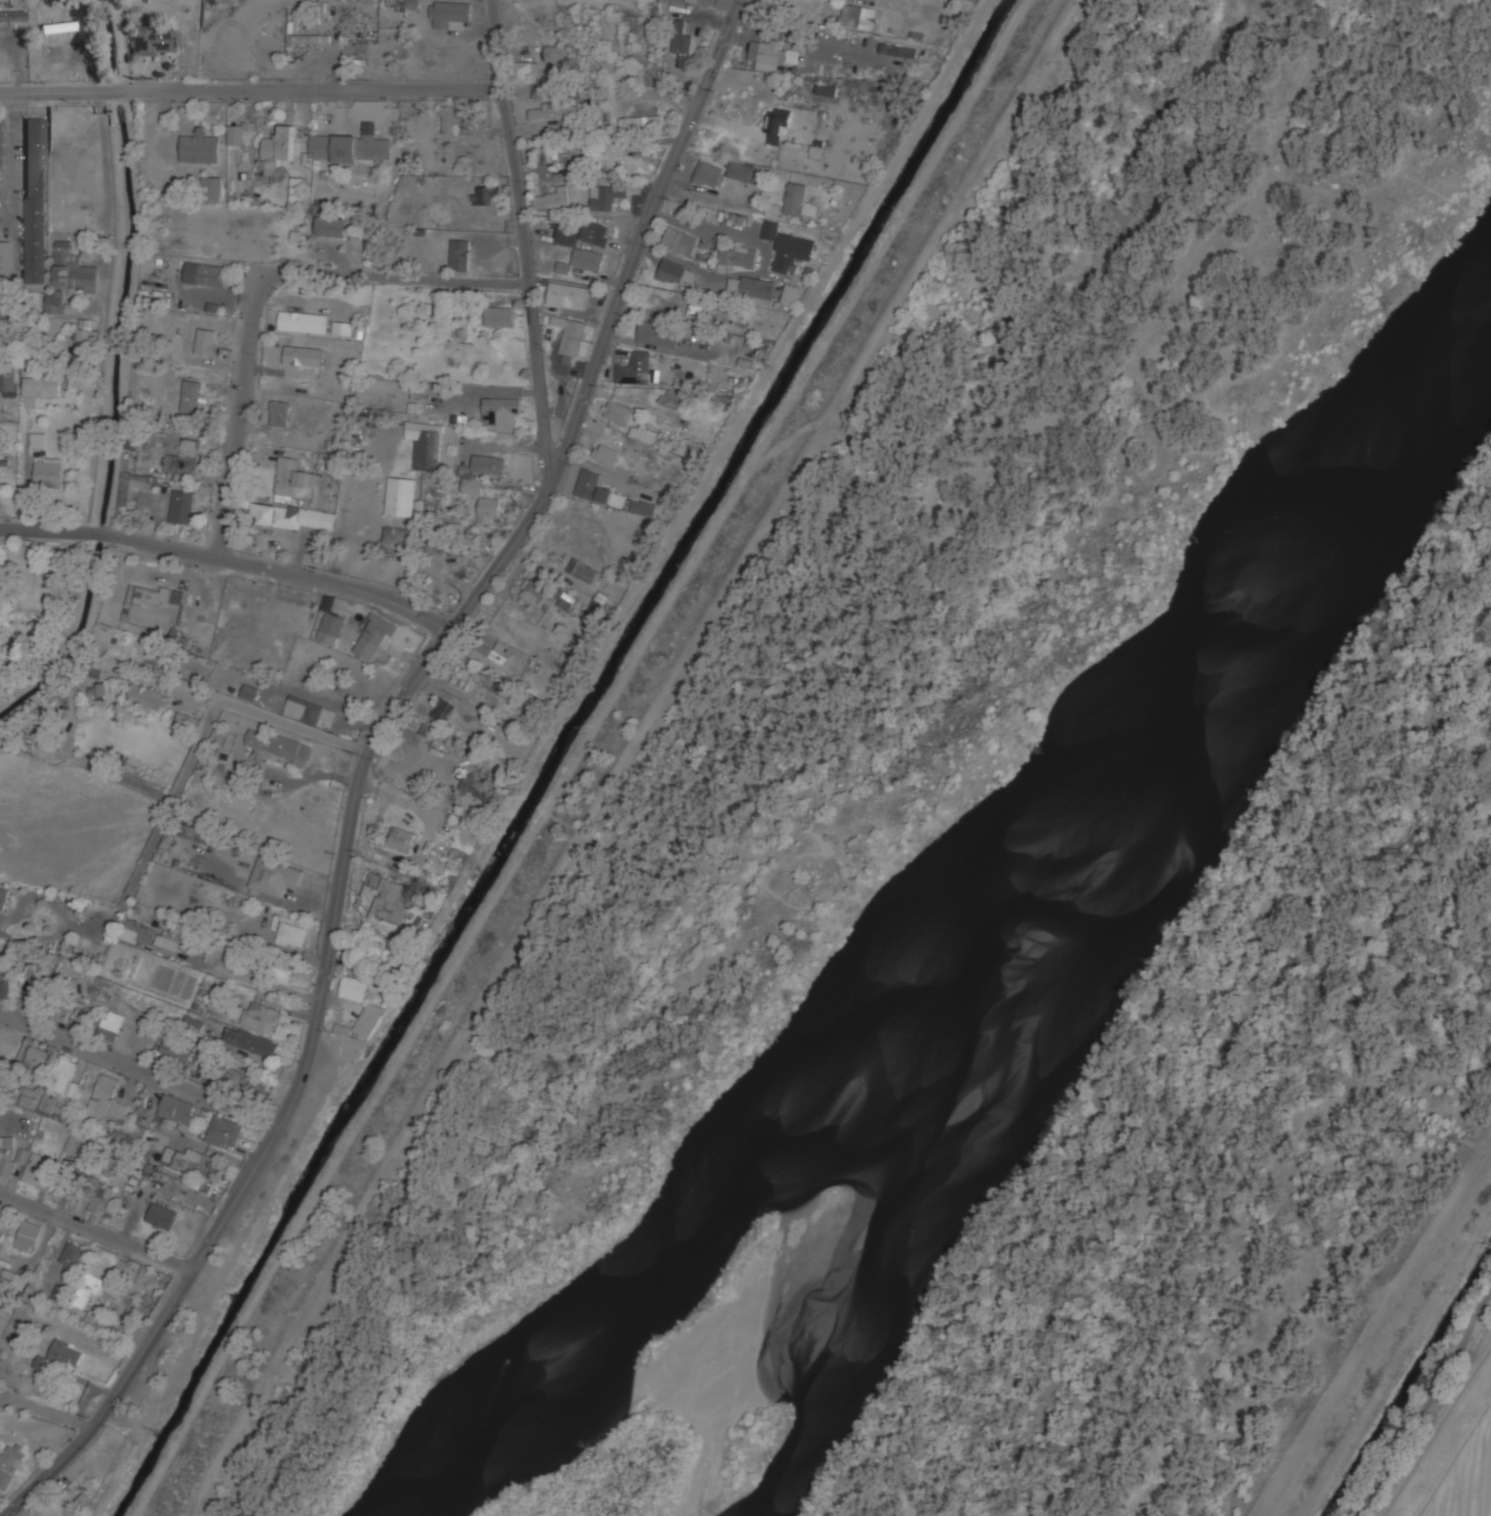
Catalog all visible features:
building: (412, 4)
building: (449, 12)
building: (860, 15)
building: (3, 18)
building: (51, 31)
building: (309, 38)
building: (153, 40)
building: (682, 42)
building: (840, 43)
building: (555, 51)
building: (770, 53)
building: (793, 55)
building: (524, 71)
road: (252, 89)
building: (826, 90)
building: (554, 109)
building: (452, 119)
building: (640, 120)
building: (62, 121)
building: (779, 123)
building: (201, 146)
building: (278, 146)
building: (319, 146)
building: (361, 148)
building: (596, 148)
building: (818, 149)
road: (107, 158)
road: (7, 159)
building: (725, 172)
building: (213, 186)
building: (298, 189)
building: (34, 191)
building: (487, 194)
building: (607, 196)
building: (554, 197)
building: (799, 199)
building: (333, 227)
building: (586, 233)
building: (679, 240)
road: (524, 242)
building: (788, 245)
building: (460, 254)
building: (736, 254)
building: (587, 259)
building: (5, 261)
building: (563, 267)
building: (72, 268)
building: (675, 271)
building: (208, 273)
road: (398, 276)
building: (751, 287)
building: (791, 294)
building: (573, 295)
building: (54, 302)
building: (498, 315)
building: (303, 322)
building: (85, 329)
building: (658, 332)
building: (570, 335)
building: (206, 341)
building: (303, 355)
building: (634, 367)
building: (8, 382)
building: (42, 386)
building: (193, 396)
building: (672, 398)
building: (415, 407)
building: (502, 410)
road: (240, 411)
building: (279, 412)
building: (619, 412)
building: (459, 419)
building: (644, 433)
building: (38, 439)
building: (426, 443)
building: (606, 454)
building: (184, 457)
building: (488, 464)
building: (49, 472)
building: (291, 478)
building: (471, 485)
building: (598, 488)
building: (401, 496)
building: (123, 497)
building: (182, 506)
building: (644, 506)
building: (488, 509)
building: (294, 516)
building: (395, 534)
road: (231, 558)
building: (584, 570)
building: (534, 592)
building: (158, 595)
building: (564, 601)
building: (328, 603)
building: (596, 607)
building: (291, 610)
building: (331, 627)
building: (375, 635)
building: (493, 651)
building: (462, 678)
building: (96, 690)
building: (249, 691)
building: (146, 695)
building: (305, 709)
building: (442, 709)
building: (185, 726)
building: (430, 730)
road: (773, 732)
building: (277, 745)
road: (363, 762)
road: (184, 769)
building: (480, 788)
building: (198, 836)
building: (400, 839)
building: (274, 876)
building: (2, 896)
building: (391, 901)
river: (1071, 909)
building: (291, 935)
building: (172, 937)
building: (282, 972)
building: (34, 989)
building: (7, 990)
building: (60, 1011)
building: (260, 1016)
building: (368, 1019)
building: (193, 1024)
building: (111, 1025)
building: (342, 1030)
road: (1205, 1032)
building: (251, 1041)
building: (176, 1052)
building: (35, 1058)
road: (141, 1067)
building: (64, 1077)
building: (247, 1079)
building: (29, 1097)
building: (106, 1103)
building: (47, 1105)
building: (177, 1108)
building: (138, 1130)
building: (224, 1131)
building: (78, 1143)
building: (21, 1155)
building: (6, 1156)
building: (197, 1160)
road: (1268, 1166)
building: (37, 1169)
building: (98, 1197)
building: (0, 1211)
building: (164, 1218)
road: (96, 1229)
building: (29, 1235)
building: (72, 1256)
building: (13, 1279)
building: (88, 1290)
building: (59, 1291)
building: (87, 1315)
road: (1373, 1327)
building: (59, 1357)
road: (1426, 1405)
building: (10, 1463)
crop: (1459, 1464)
building: (84, 1500)
building: (56, 1509)

